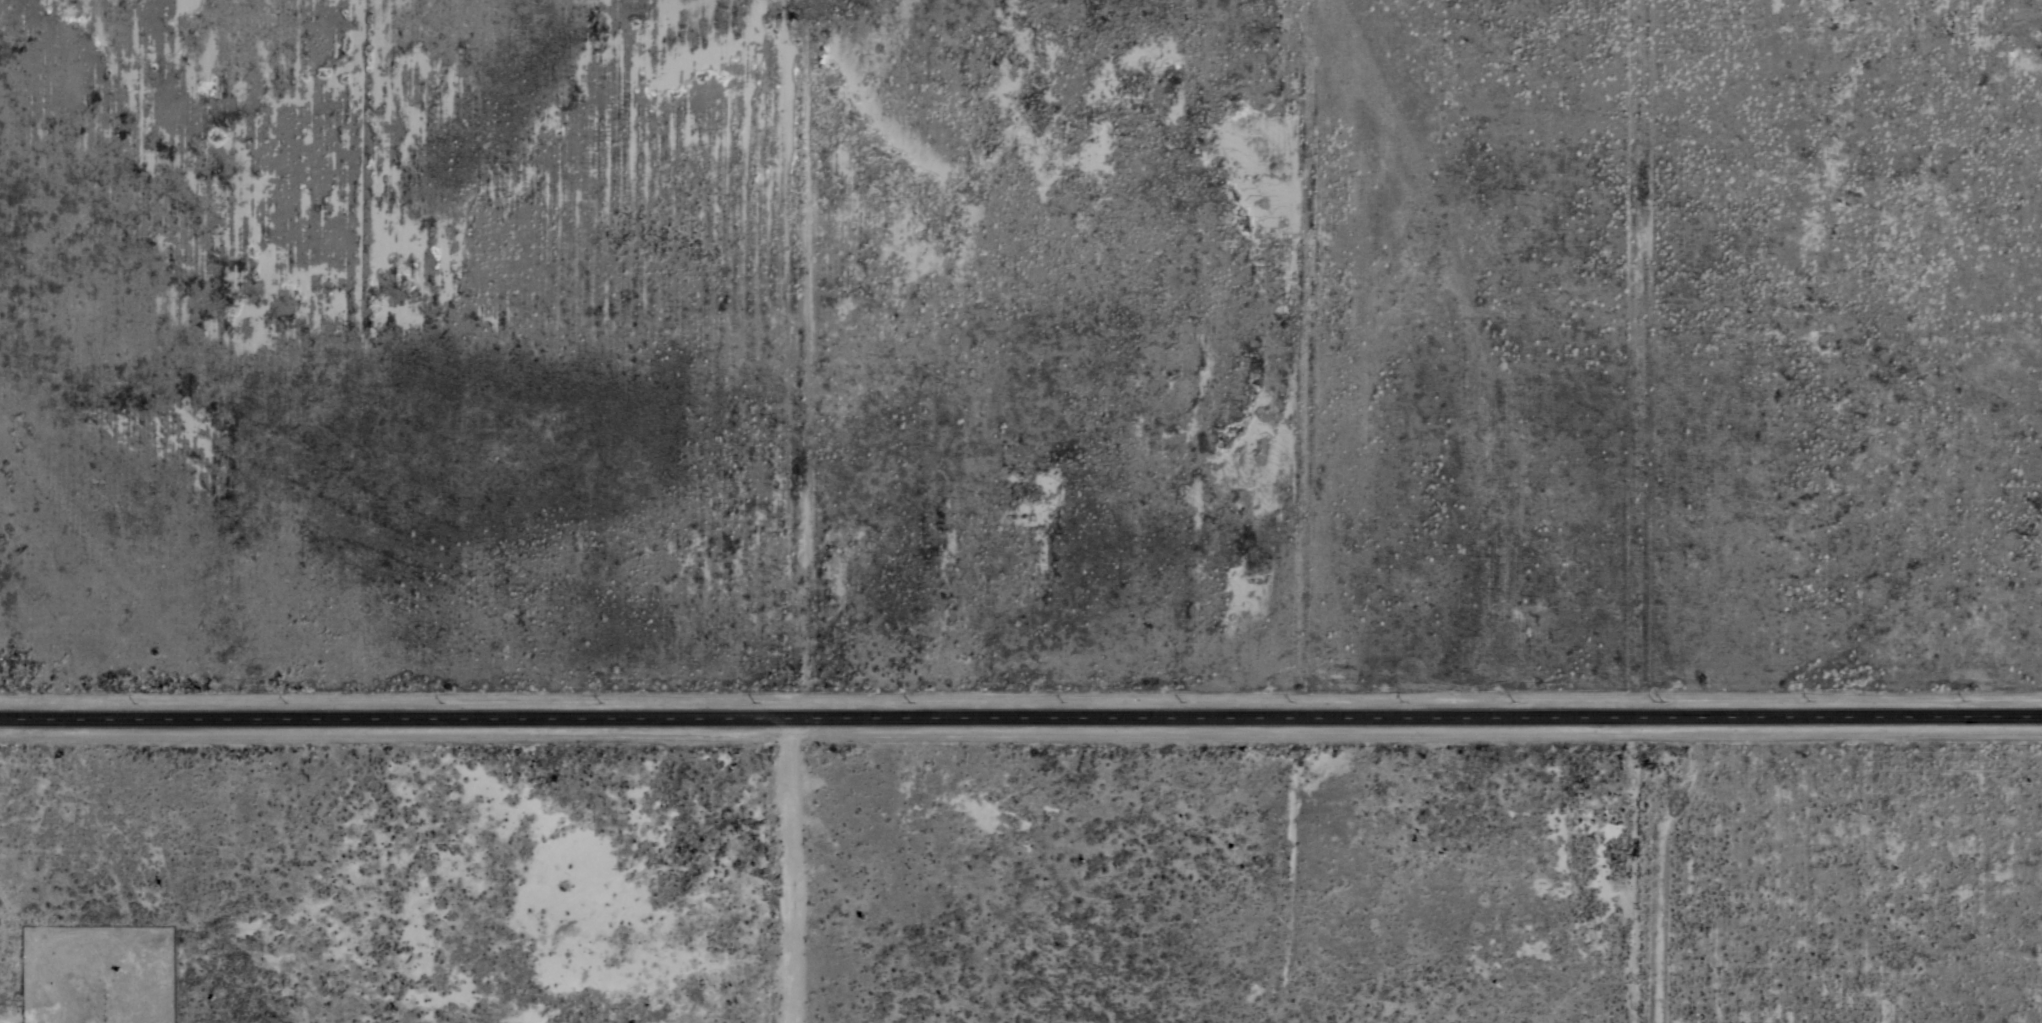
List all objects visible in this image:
road: (1021, 713)
road: (1319, 867)
road: (800, 868)

